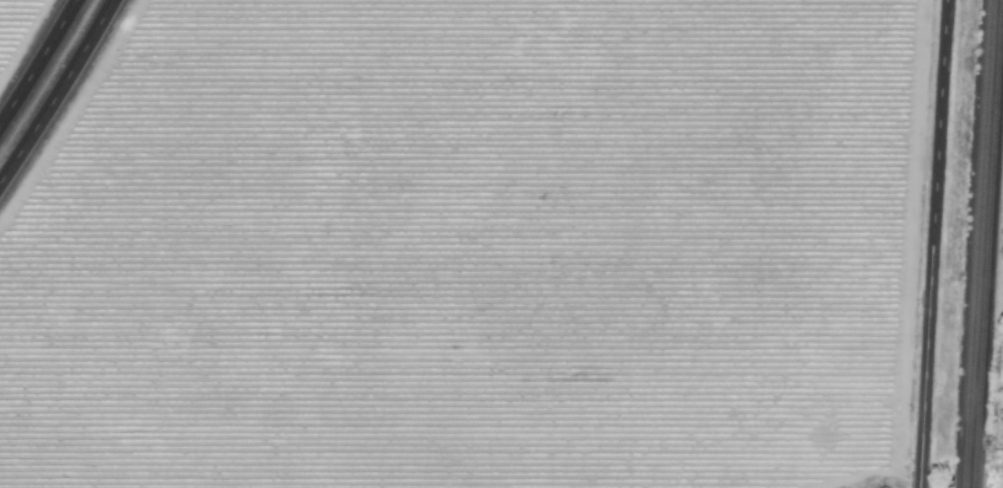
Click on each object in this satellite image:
road: (40, 65)
road: (60, 94)
railway: (980, 235)
road: (935, 244)
railway: (991, 262)
park: (998, 439)
railway: (968, 478)
railway: (978, 479)
railway: (967, 487)
railway: (977, 487)

